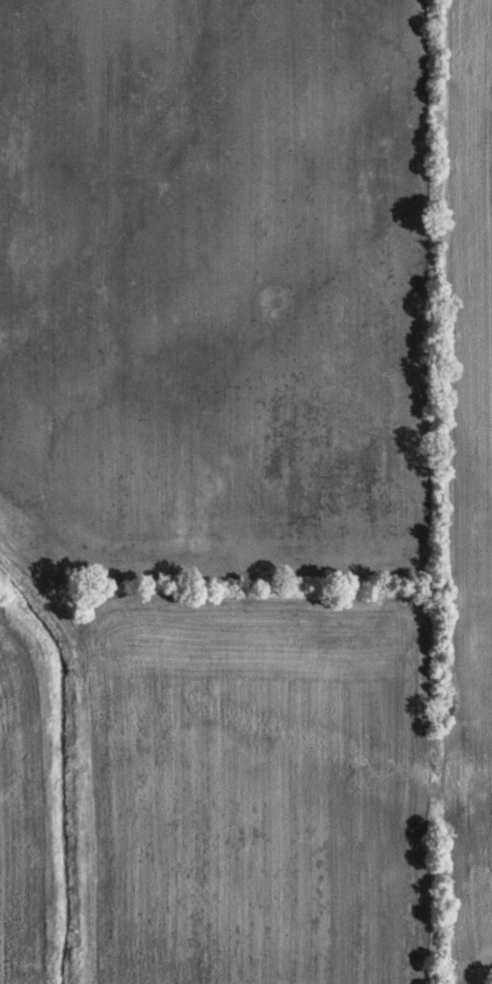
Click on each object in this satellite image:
crop: (473, 499)

